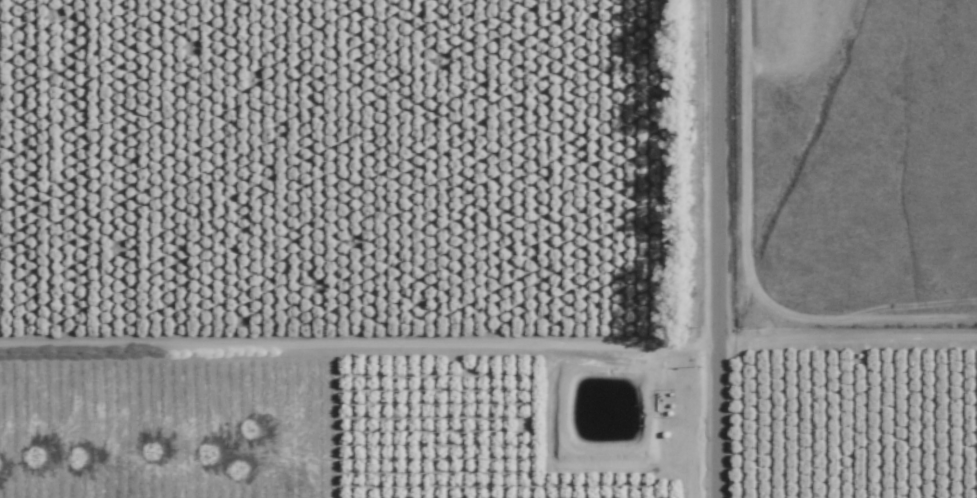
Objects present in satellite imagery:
building: (217, 53)
building: (416, 66)
road: (811, 179)
road: (723, 249)
crop: (403, 267)
road: (361, 344)
road: (850, 350)
wastewater plant: (605, 415)

